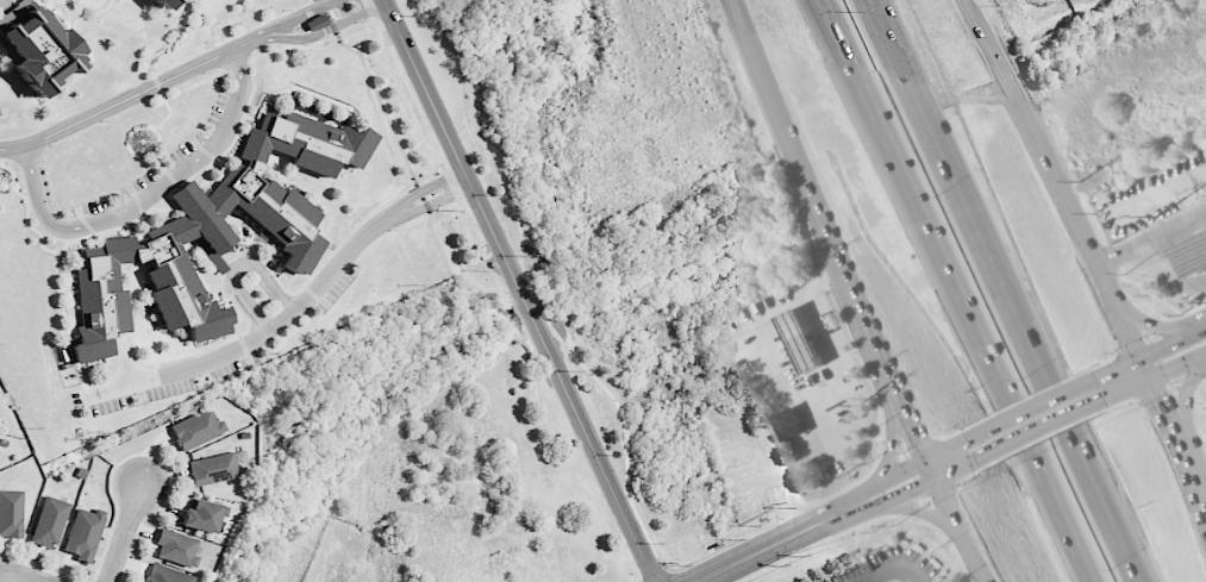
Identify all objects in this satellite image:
building: (162, 2)
road: (344, 11)
road: (368, 13)
road: (296, 15)
building: (317, 23)
road: (310, 38)
building: (37, 46)
road: (135, 94)
road: (931, 142)
road: (1042, 148)
road: (431, 187)
road: (812, 190)
road: (148, 198)
road: (438, 202)
building: (213, 236)
road: (1151, 239)
building: (1192, 256)
gas station: (1192, 256)
road: (238, 267)
road: (944, 267)
road: (520, 290)
road: (1149, 325)
road: (1201, 331)
road: (1131, 337)
road: (258, 339)
building: (800, 342)
traffic signals: (1162, 348)
road: (1146, 355)
road: (126, 359)
road: (1157, 374)
traffic signals: (1157, 395)
traffic signals: (1110, 398)
road: (1185, 400)
road: (1032, 408)
road: (1166, 414)
road: (907, 420)
building: (789, 425)
road: (1064, 425)
road: (1044, 428)
building: (196, 430)
road: (893, 434)
traffic signals: (968, 439)
traffic signals: (917, 442)
road: (946, 449)
building: (215, 468)
road: (931, 470)
road: (957, 470)
road: (901, 471)
road: (1194, 476)
traffic signals: (914, 492)
road: (866, 495)
road: (895, 499)
road: (924, 511)
building: (11, 513)
building: (204, 515)
building: (50, 521)
road: (963, 531)
building: (85, 533)
road: (124, 533)
road: (775, 544)
building: (176, 547)
road: (1080, 557)
road: (892, 565)
building: (167, 575)
road: (1135, 575)
road: (27, 578)

